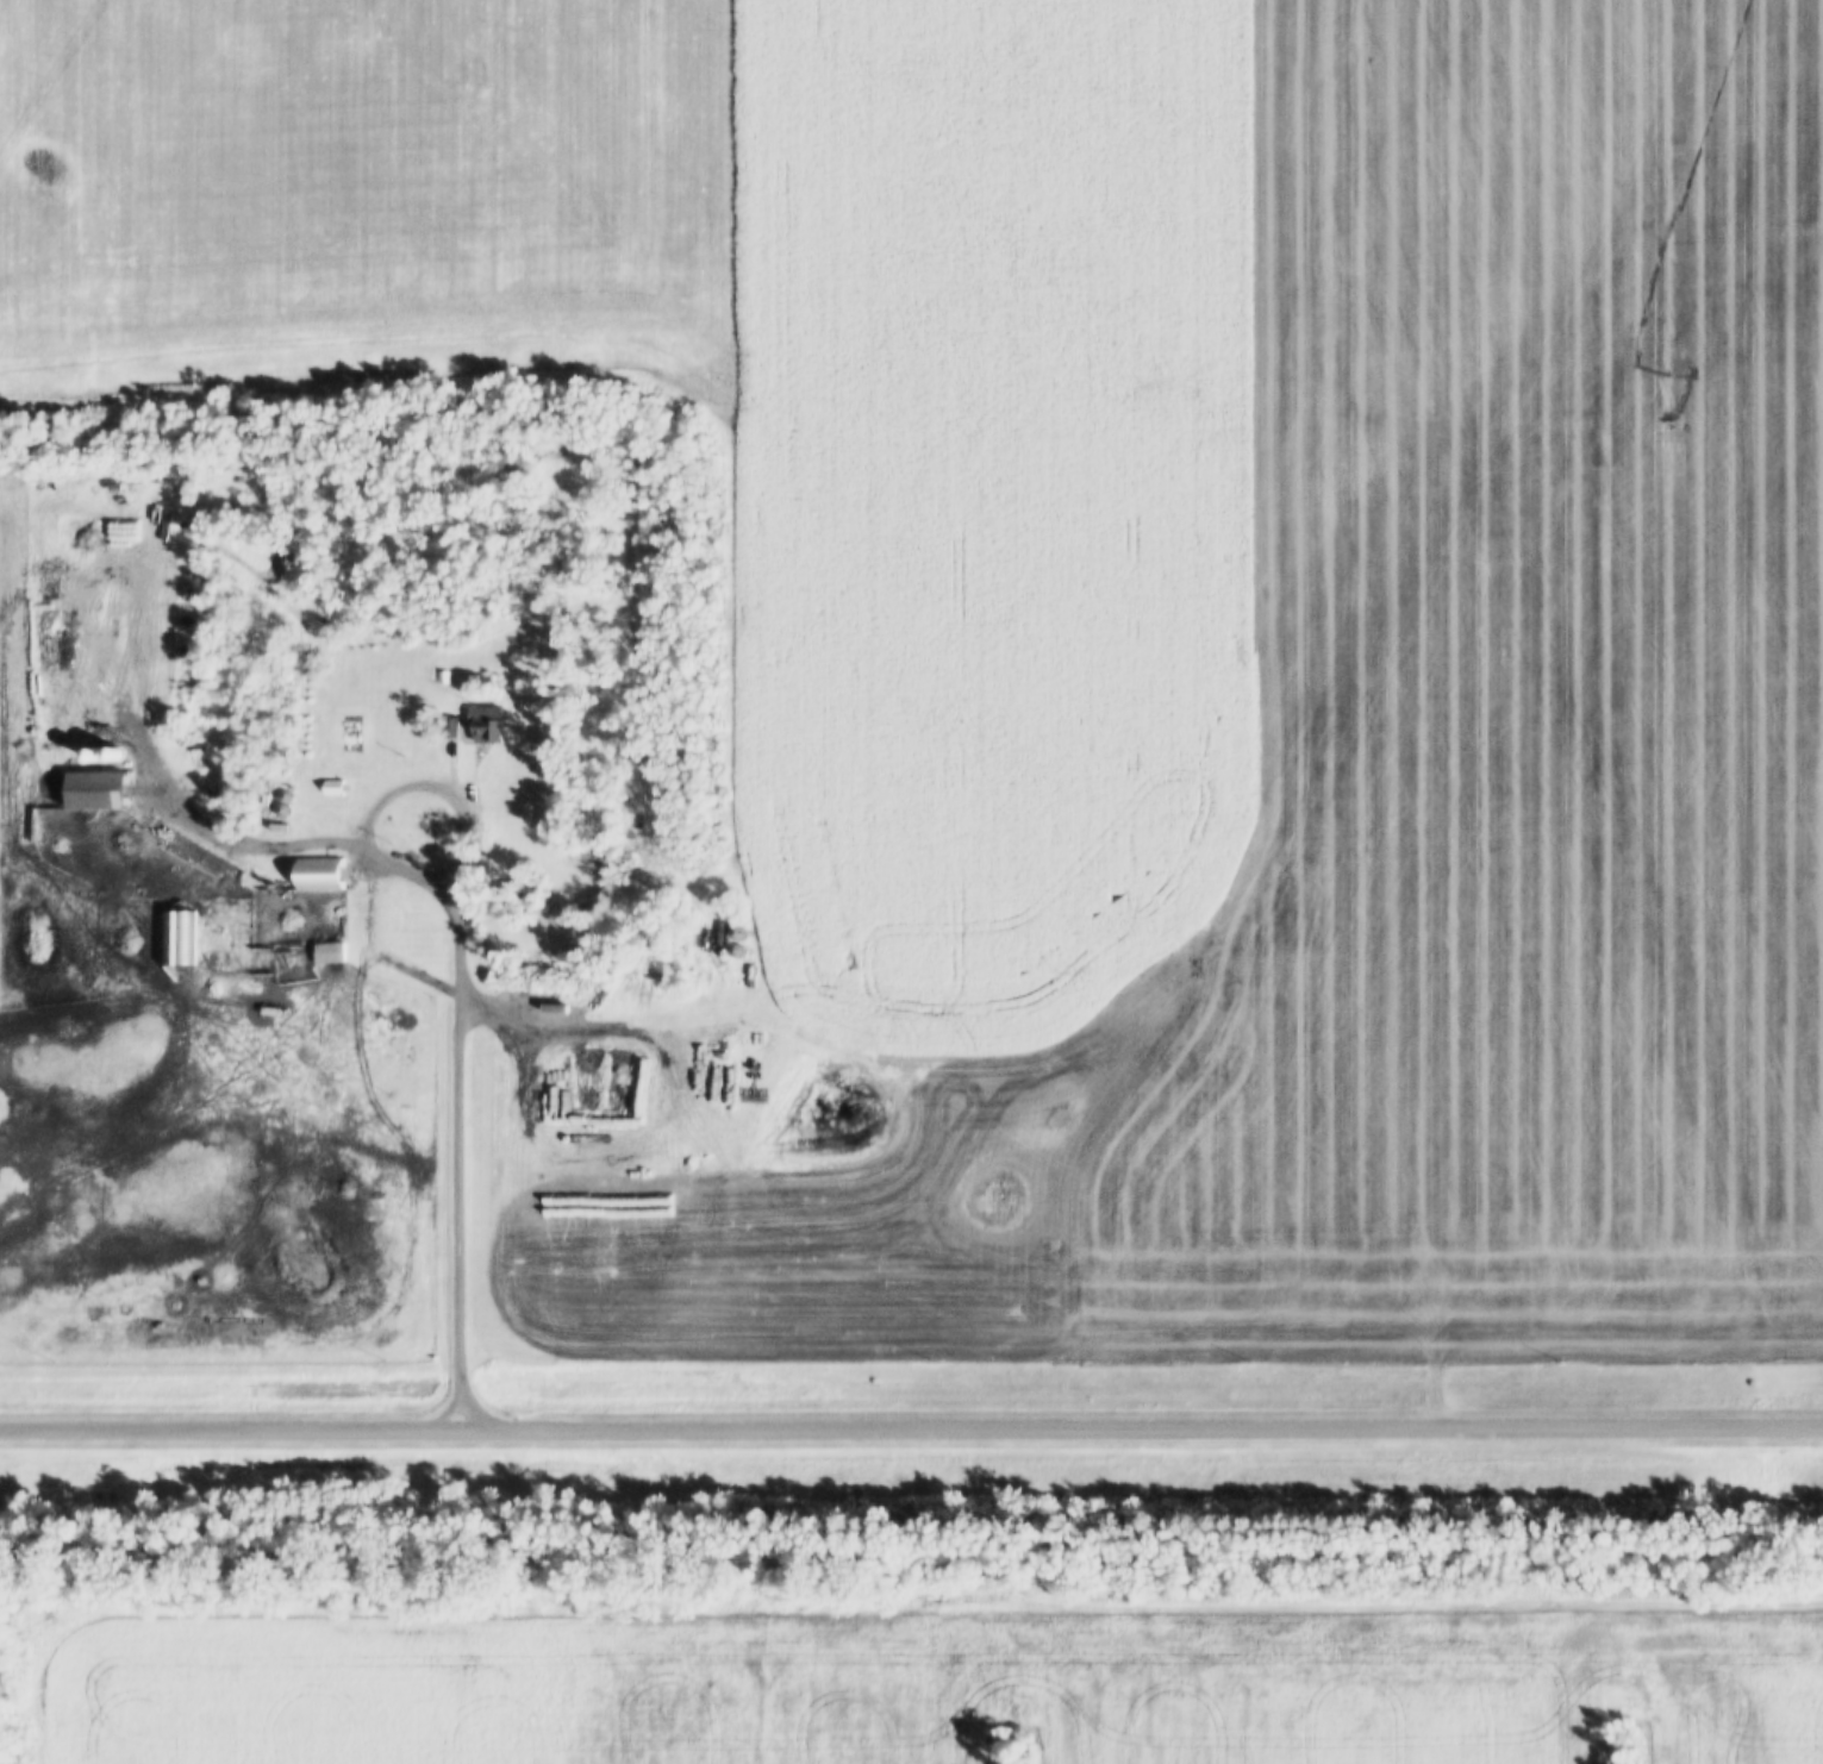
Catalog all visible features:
building: (487, 723)
building: (451, 725)
building: (335, 786)
building: (98, 789)
building: (320, 872)
building: (737, 931)
building: (330, 951)
road: (458, 987)
road: (1160, 1328)
road: (911, 1426)

